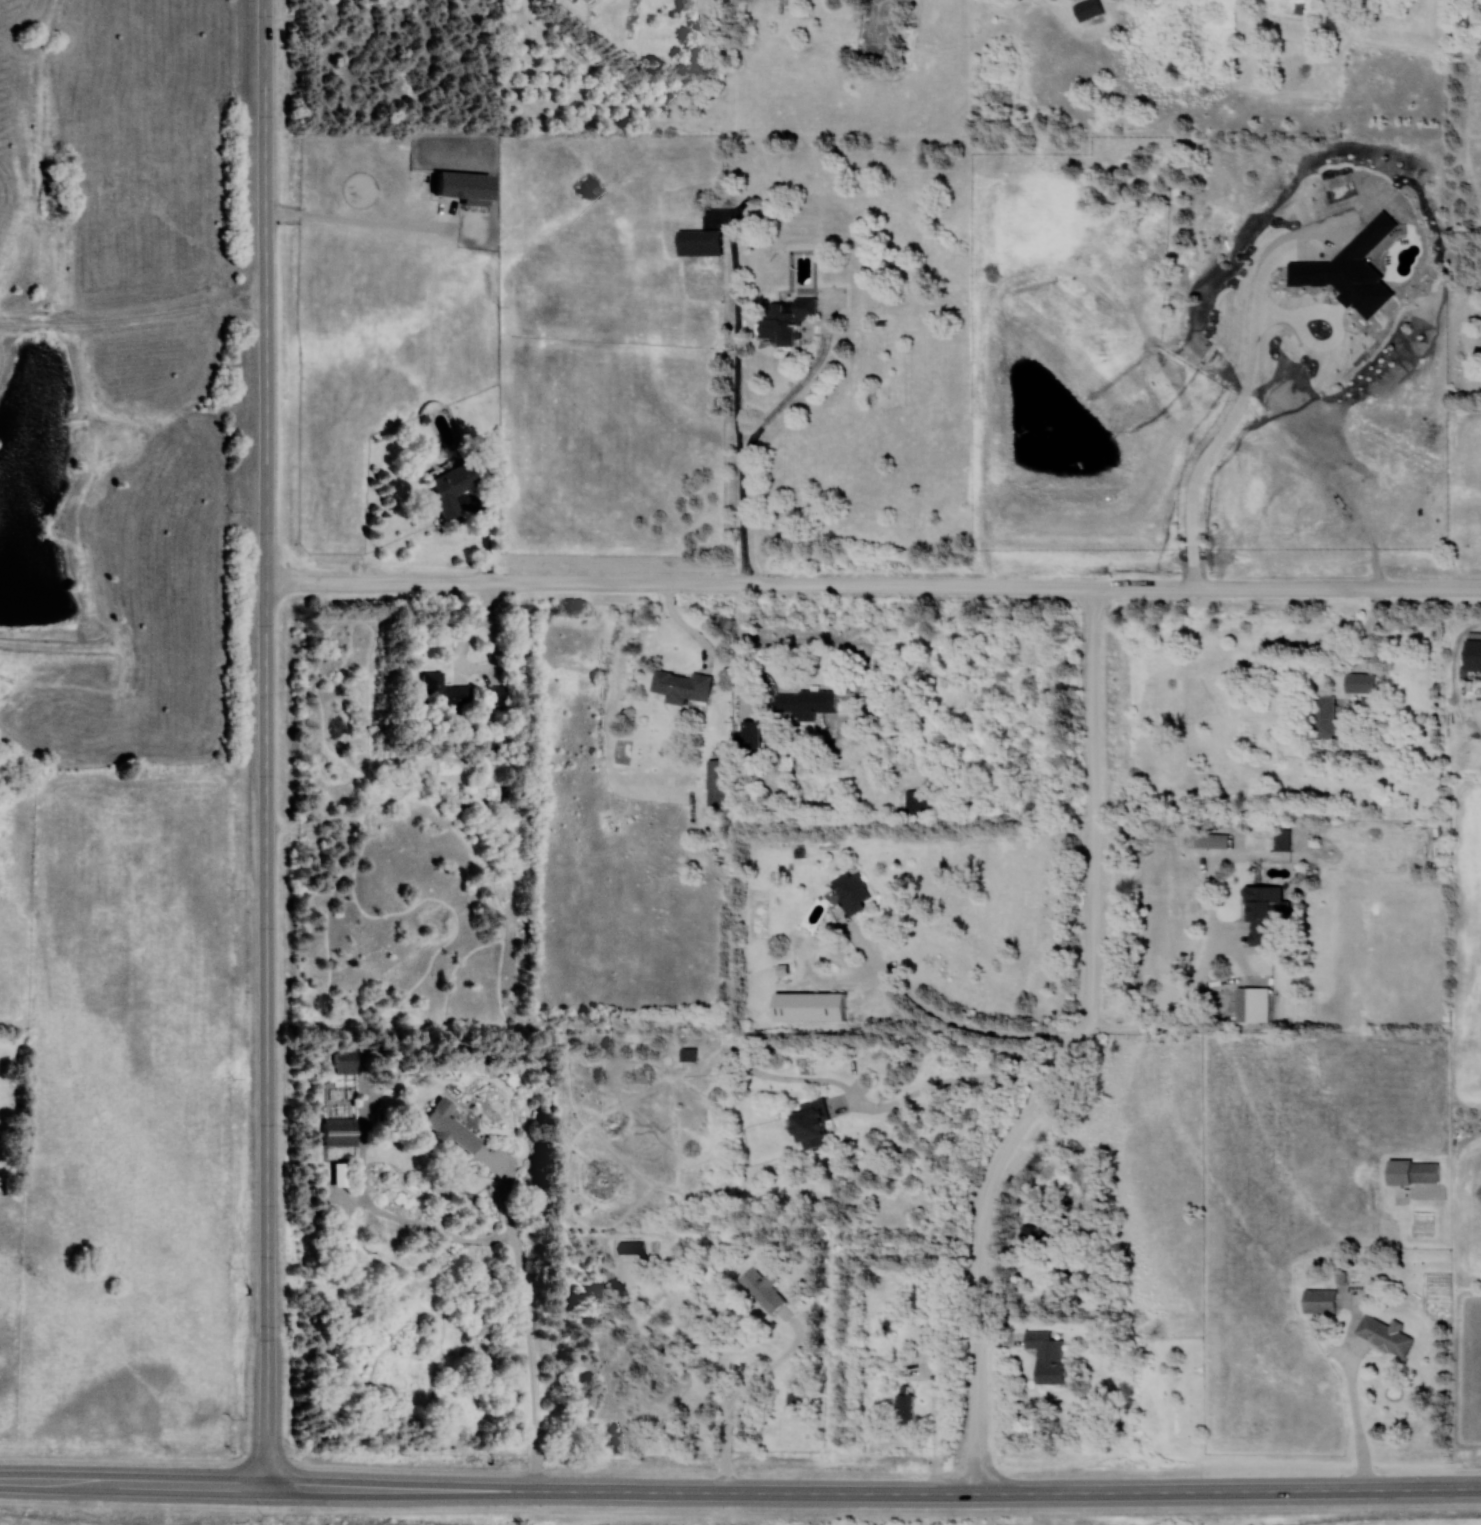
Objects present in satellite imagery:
building: (1338, 20)
building: (465, 187)
road: (366, 221)
building: (703, 242)
building: (788, 320)
road: (798, 387)
road: (737, 403)
road: (1235, 417)
building: (453, 488)
road: (874, 584)
road: (743, 642)
building: (1472, 654)
building: (1361, 682)
building: (685, 687)
building: (443, 692)
building: (497, 694)
building: (808, 705)
building: (755, 737)
road: (267, 742)
building: (719, 782)
building: (920, 800)
building: (855, 890)
building: (815, 1006)
road: (1169, 1013)
road: (977, 1030)
road: (1069, 1050)
building: (692, 1054)
building: (346, 1062)
road: (943, 1083)
building: (817, 1123)
building: (450, 1125)
building: (341, 1132)
building: (1412, 1171)
road: (512, 1235)
building: (633, 1247)
building: (766, 1288)
building: (923, 1293)
building: (942, 1332)
building: (1384, 1334)
building: (1046, 1355)
road: (741, 1394)
building: (799, 1395)
building: (908, 1407)
road: (1358, 1412)
road: (937, 1434)
road: (740, 1492)

